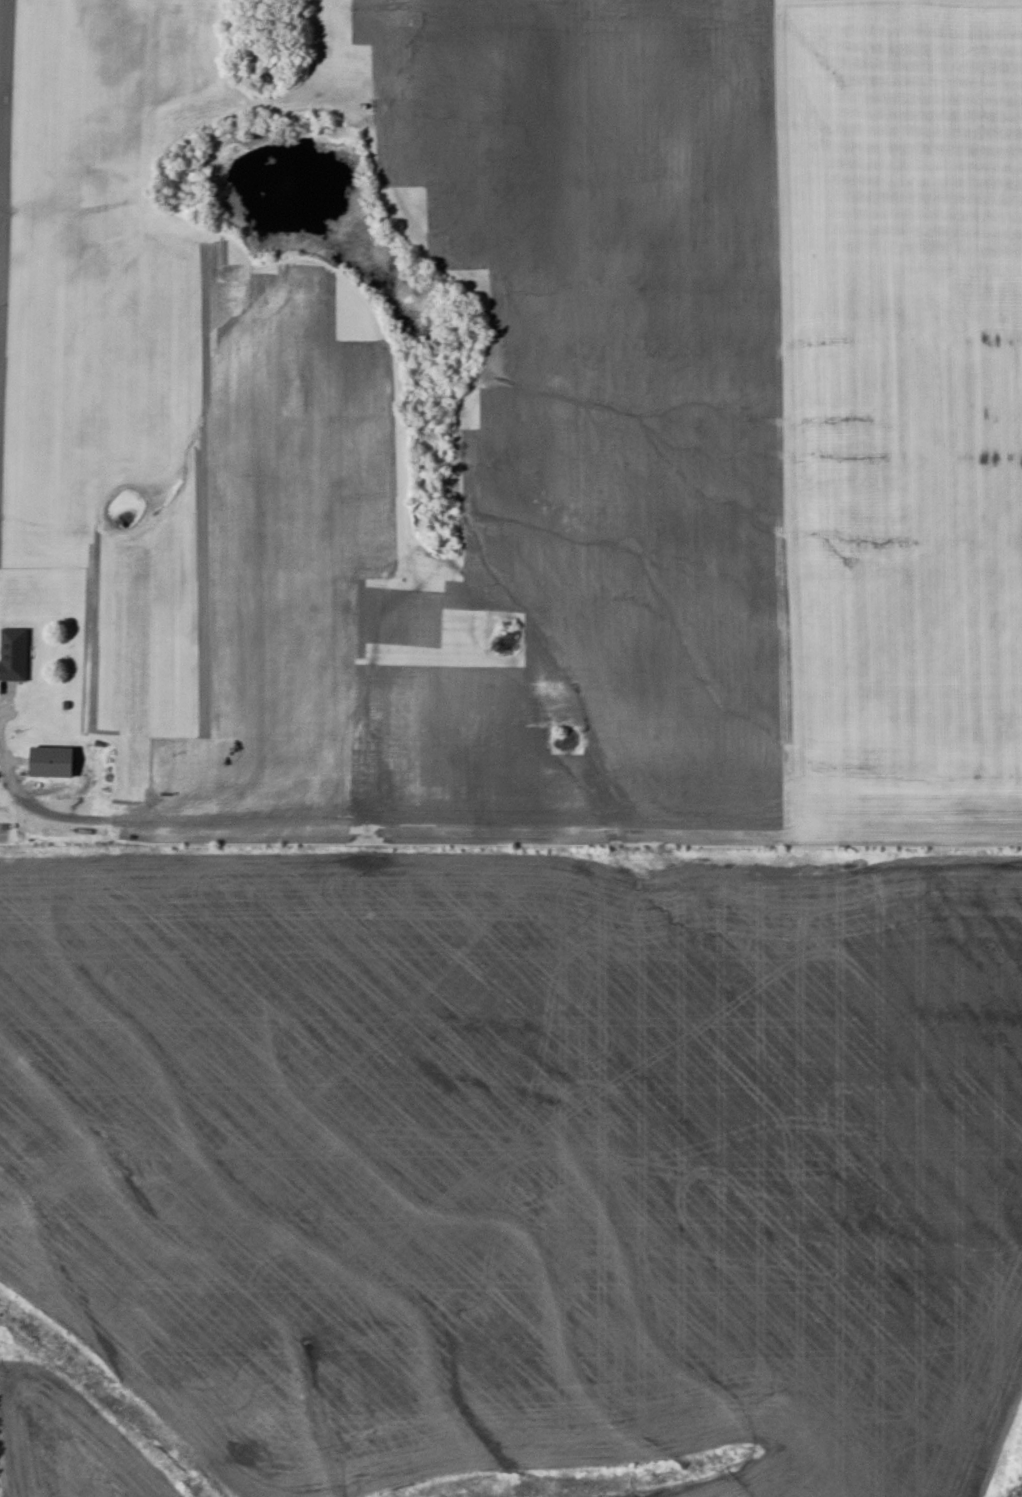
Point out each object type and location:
building: (13, 656)
road: (4, 700)
road: (2, 758)
building: (50, 763)

